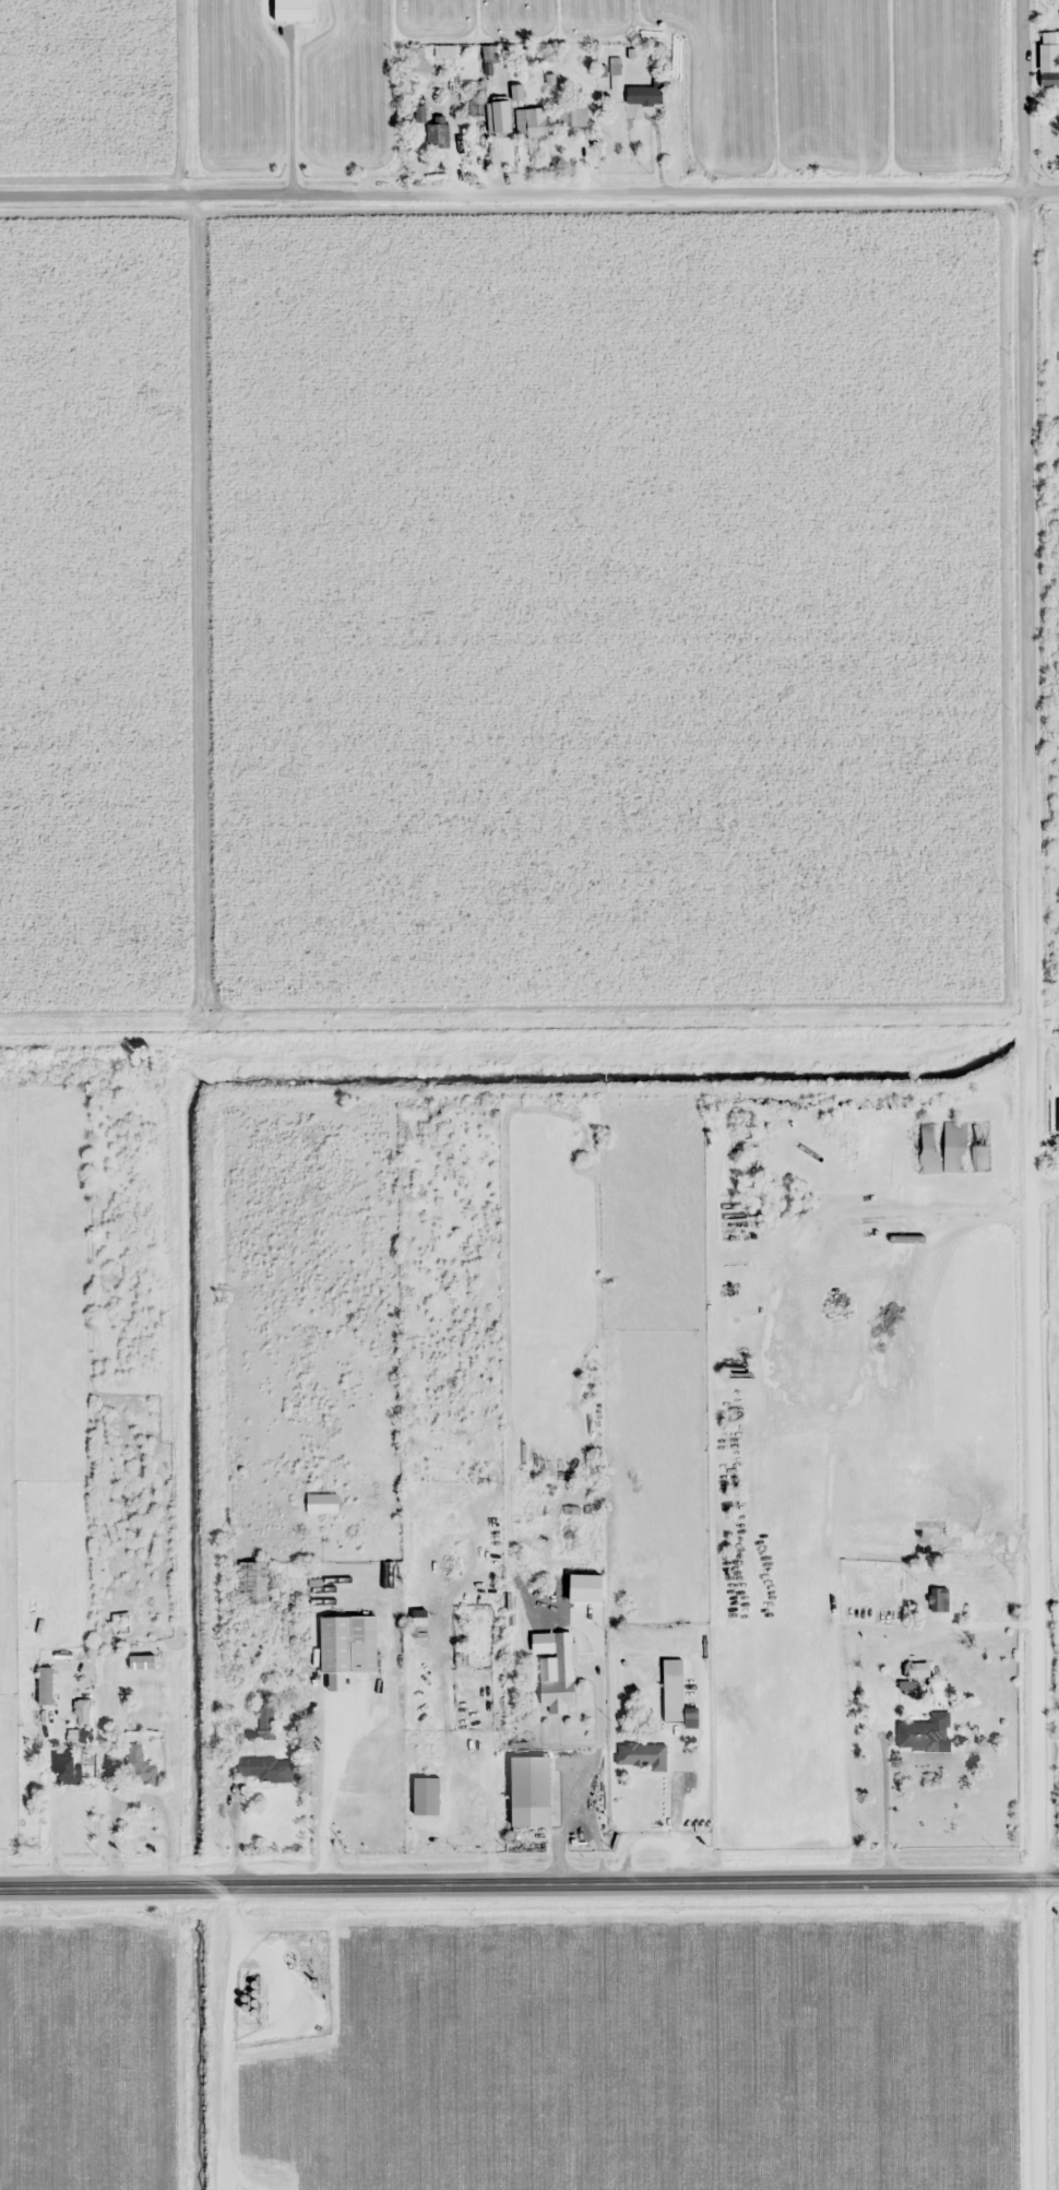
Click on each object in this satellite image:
building: (449, 51)
building: (492, 58)
building: (417, 60)
building: (1049, 73)
building: (615, 74)
building: (517, 93)
building: (645, 95)
building: (572, 114)
building: (501, 117)
building: (531, 123)
building: (439, 134)
road: (1042, 185)
road: (512, 188)
road: (1028, 592)
building: (1058, 1114)
building: (980, 1146)
building: (955, 1147)
building: (926, 1148)
road: (1046, 1185)
building: (322, 1503)
road: (1038, 1532)
building: (929, 1541)
building: (253, 1582)
building: (585, 1587)
building: (939, 1600)
building: (419, 1618)
building: (336, 1645)
building: (142, 1662)
building: (916, 1671)
building: (558, 1678)
building: (46, 1686)
building: (678, 1700)
building: (80, 1723)
building: (265, 1728)
building: (925, 1735)
building: (641, 1755)
building: (114, 1763)
building: (141, 1766)
building: (265, 1769)
building: (69, 1771)
building: (531, 1791)
building: (427, 1796)
road: (1048, 1879)
road: (519, 1883)
road: (1039, 2035)

